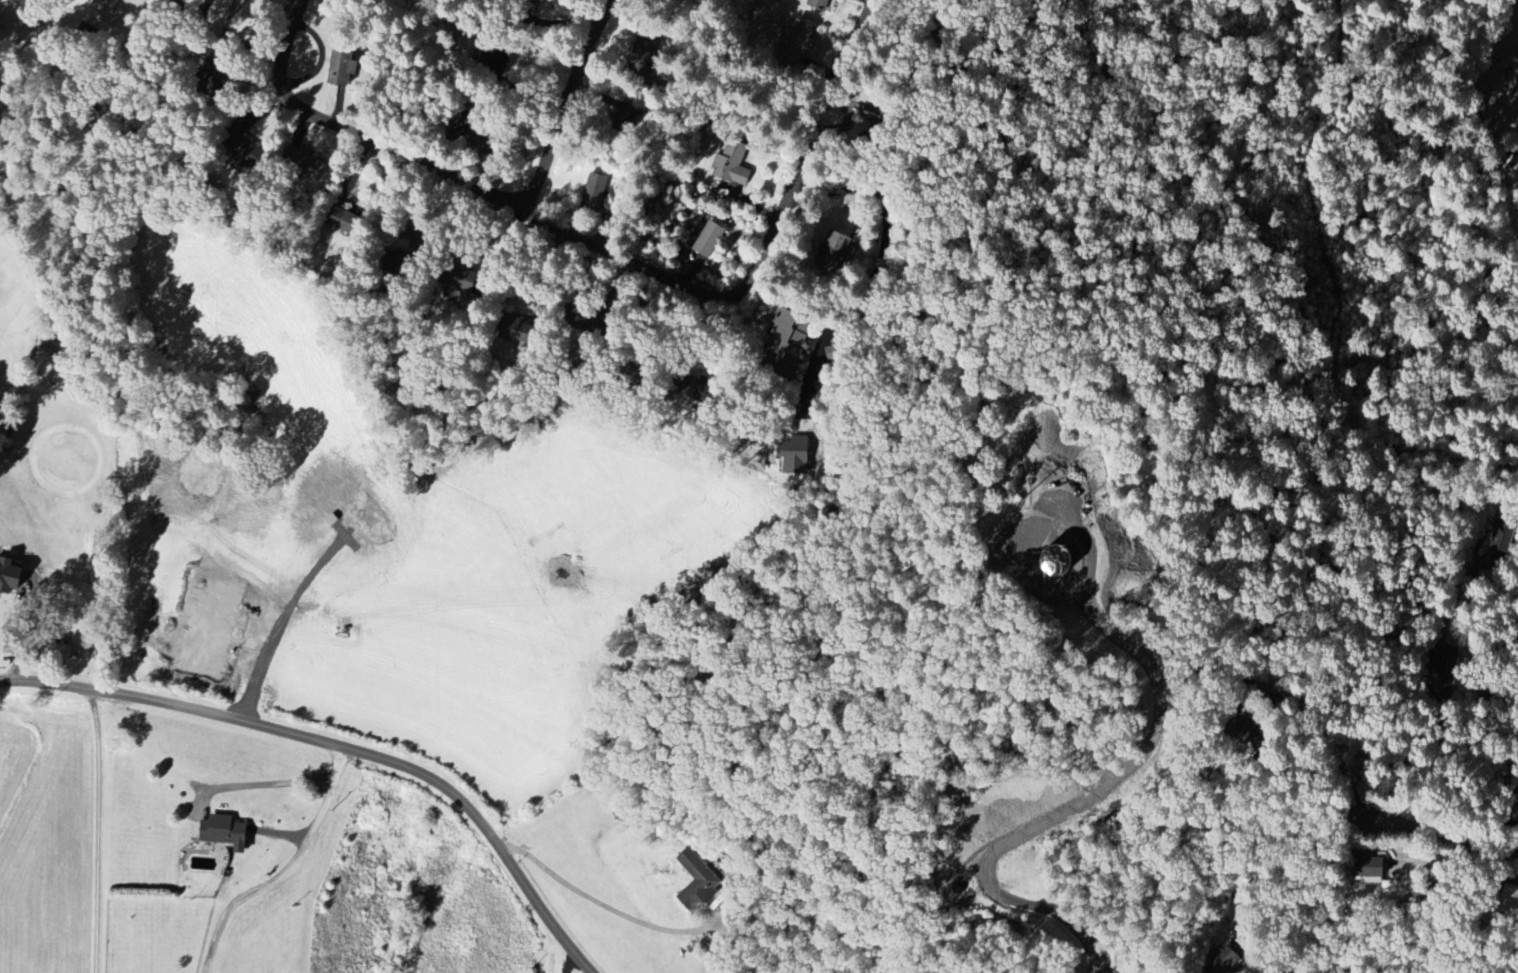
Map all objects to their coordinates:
building: (819, 3)
building: (222, 9)
building: (796, 43)
building: (645, 47)
building: (342, 66)
road: (568, 104)
building: (625, 117)
road: (1448, 117)
building: (868, 118)
road: (362, 135)
building: (310, 162)
building: (731, 163)
building: (594, 192)
building: (710, 239)
building: (835, 246)
road: (760, 253)
road: (887, 256)
building: (519, 332)
building: (787, 335)
building: (826, 349)
building: (794, 455)
building: (210, 468)
building: (1066, 481)
building: (11, 572)
road: (1485, 582)
road: (1485, 697)
road: (1320, 726)
road: (341, 746)
road: (278, 781)
building: (1514, 814)
road: (98, 829)
building: (225, 831)
road: (1440, 831)
road: (1282, 858)
building: (1367, 869)
road: (276, 879)
building: (697, 882)
road: (607, 906)

